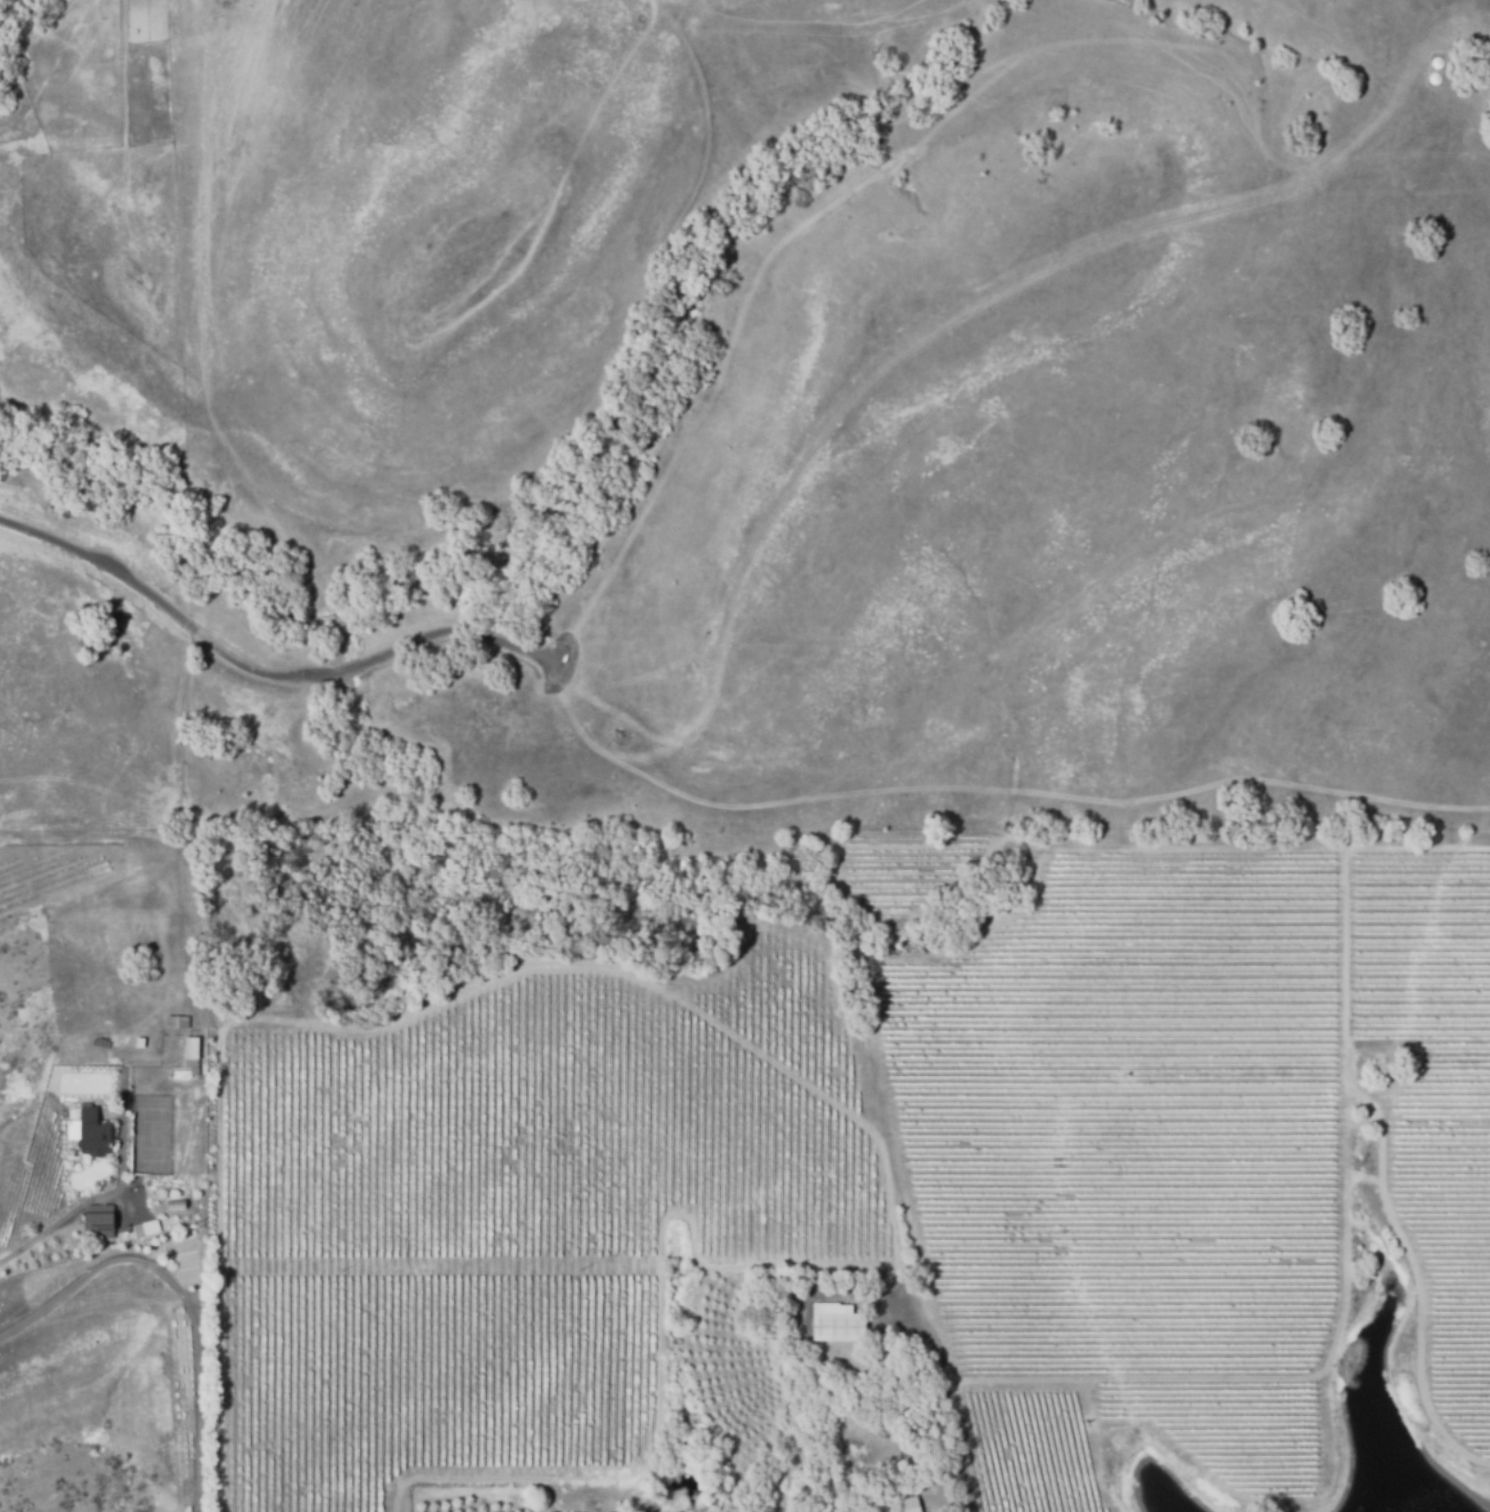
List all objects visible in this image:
road: (165, 610)
road: (461, 635)
road: (348, 672)
building: (181, 1023)
building: (137, 1042)
building: (196, 1053)
building: (96, 1133)
building: (177, 1202)
building: (103, 1221)
road: (51, 1225)
building: (150, 1228)
road: (183, 1294)
building: (841, 1323)
road: (944, 1406)
building: (913, 1502)

